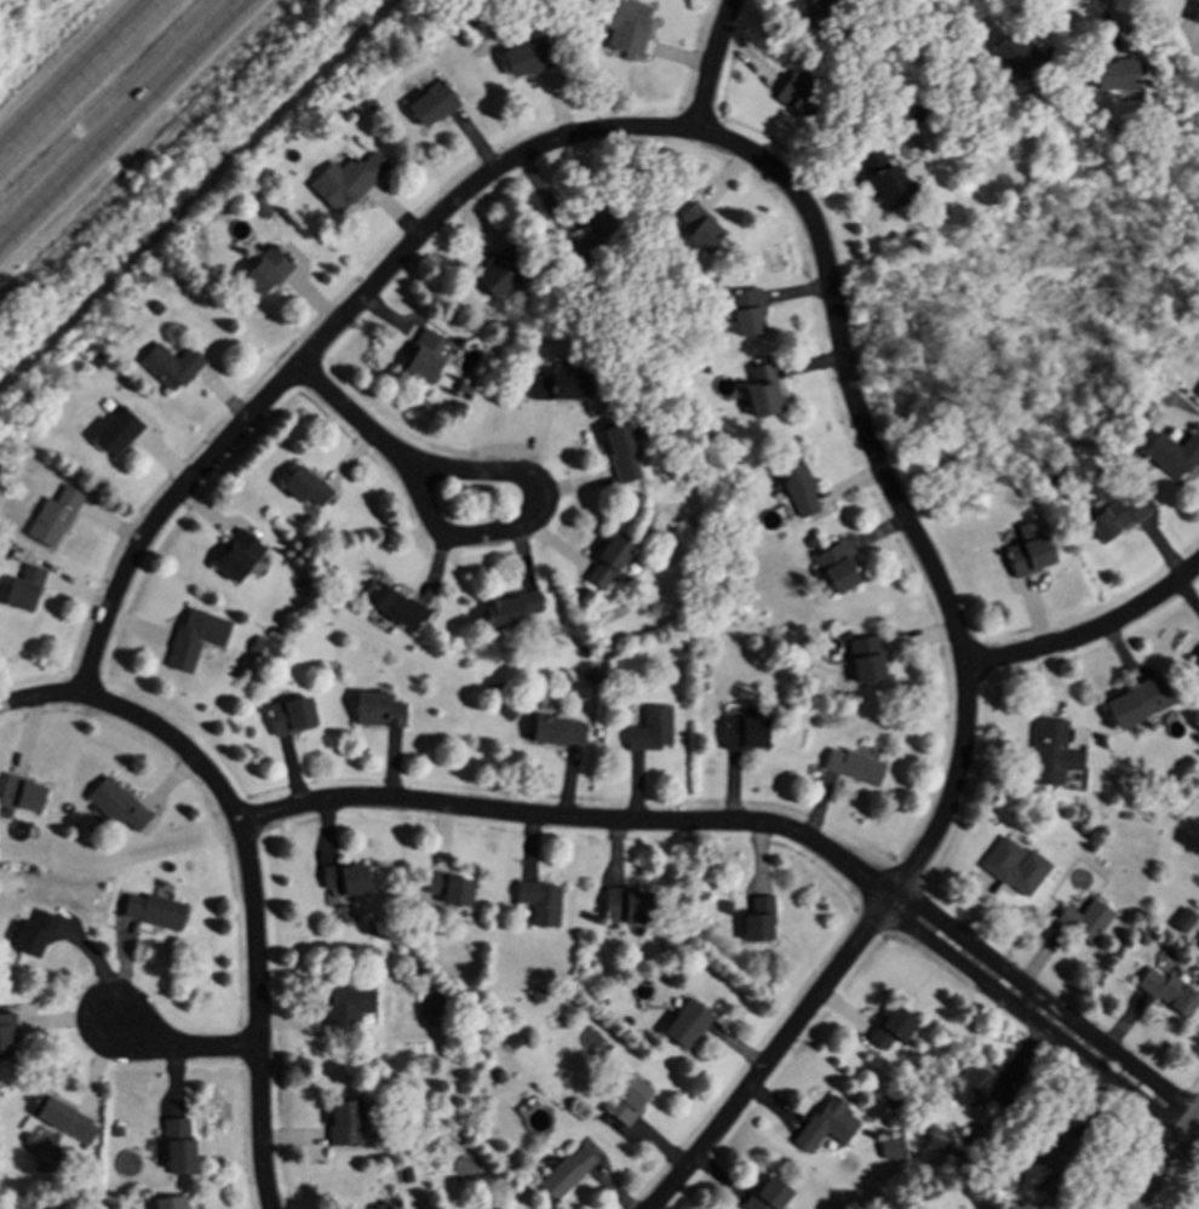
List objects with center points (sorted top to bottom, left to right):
building: (821, 13)
building: (625, 27)
building: (1019, 58)
building: (530, 59)
road: (707, 69)
road: (85, 81)
building: (796, 94)
building: (435, 108)
road: (126, 125)
building: (889, 183)
building: (349, 184)
road: (465, 190)
road: (197, 195)
building: (702, 233)
building: (593, 245)
building: (269, 275)
building: (504, 275)
building: (748, 316)
building: (428, 360)
building: (172, 369)
building: (564, 388)
building: (763, 394)
building: (119, 435)
building: (625, 455)
building: (1175, 458)
building: (308, 489)
building: (802, 493)
road: (899, 494)
road: (161, 515)
building: (1119, 520)
building: (56, 521)
road: (461, 535)
building: (1032, 555)
building: (240, 560)
building: (614, 566)
building: (838, 572)
building: (27, 591)
building: (396, 609)
building: (512, 614)
road: (1091, 631)
building: (201, 634)
building: (1195, 659)
building: (868, 664)
building: (1141, 705)
building: (380, 714)
building: (293, 720)
building: (653, 733)
building: (560, 734)
building: (747, 737)
building: (1054, 756)
building: (855, 769)
building: (24, 797)
building: (119, 808)
road: (767, 823)
road: (256, 869)
building: (1022, 876)
building: (346, 884)
building: (453, 893)
building: (541, 905)
building: (631, 909)
building: (155, 913)
building: (761, 922)
building: (1088, 923)
building: (38, 935)
building: (1170, 993)
building: (349, 1010)
building: (689, 1026)
building: (7, 1041)
road: (195, 1045)
road: (778, 1053)
building: (980, 1091)
building: (630, 1101)
building: (65, 1119)
building: (348, 1124)
building: (828, 1128)
building: (180, 1148)
building: (891, 1150)
building: (1059, 1165)
road: (1166, 1167)
building: (569, 1174)
building: (771, 1196)
building: (173, 1204)
building: (381, 1207)

